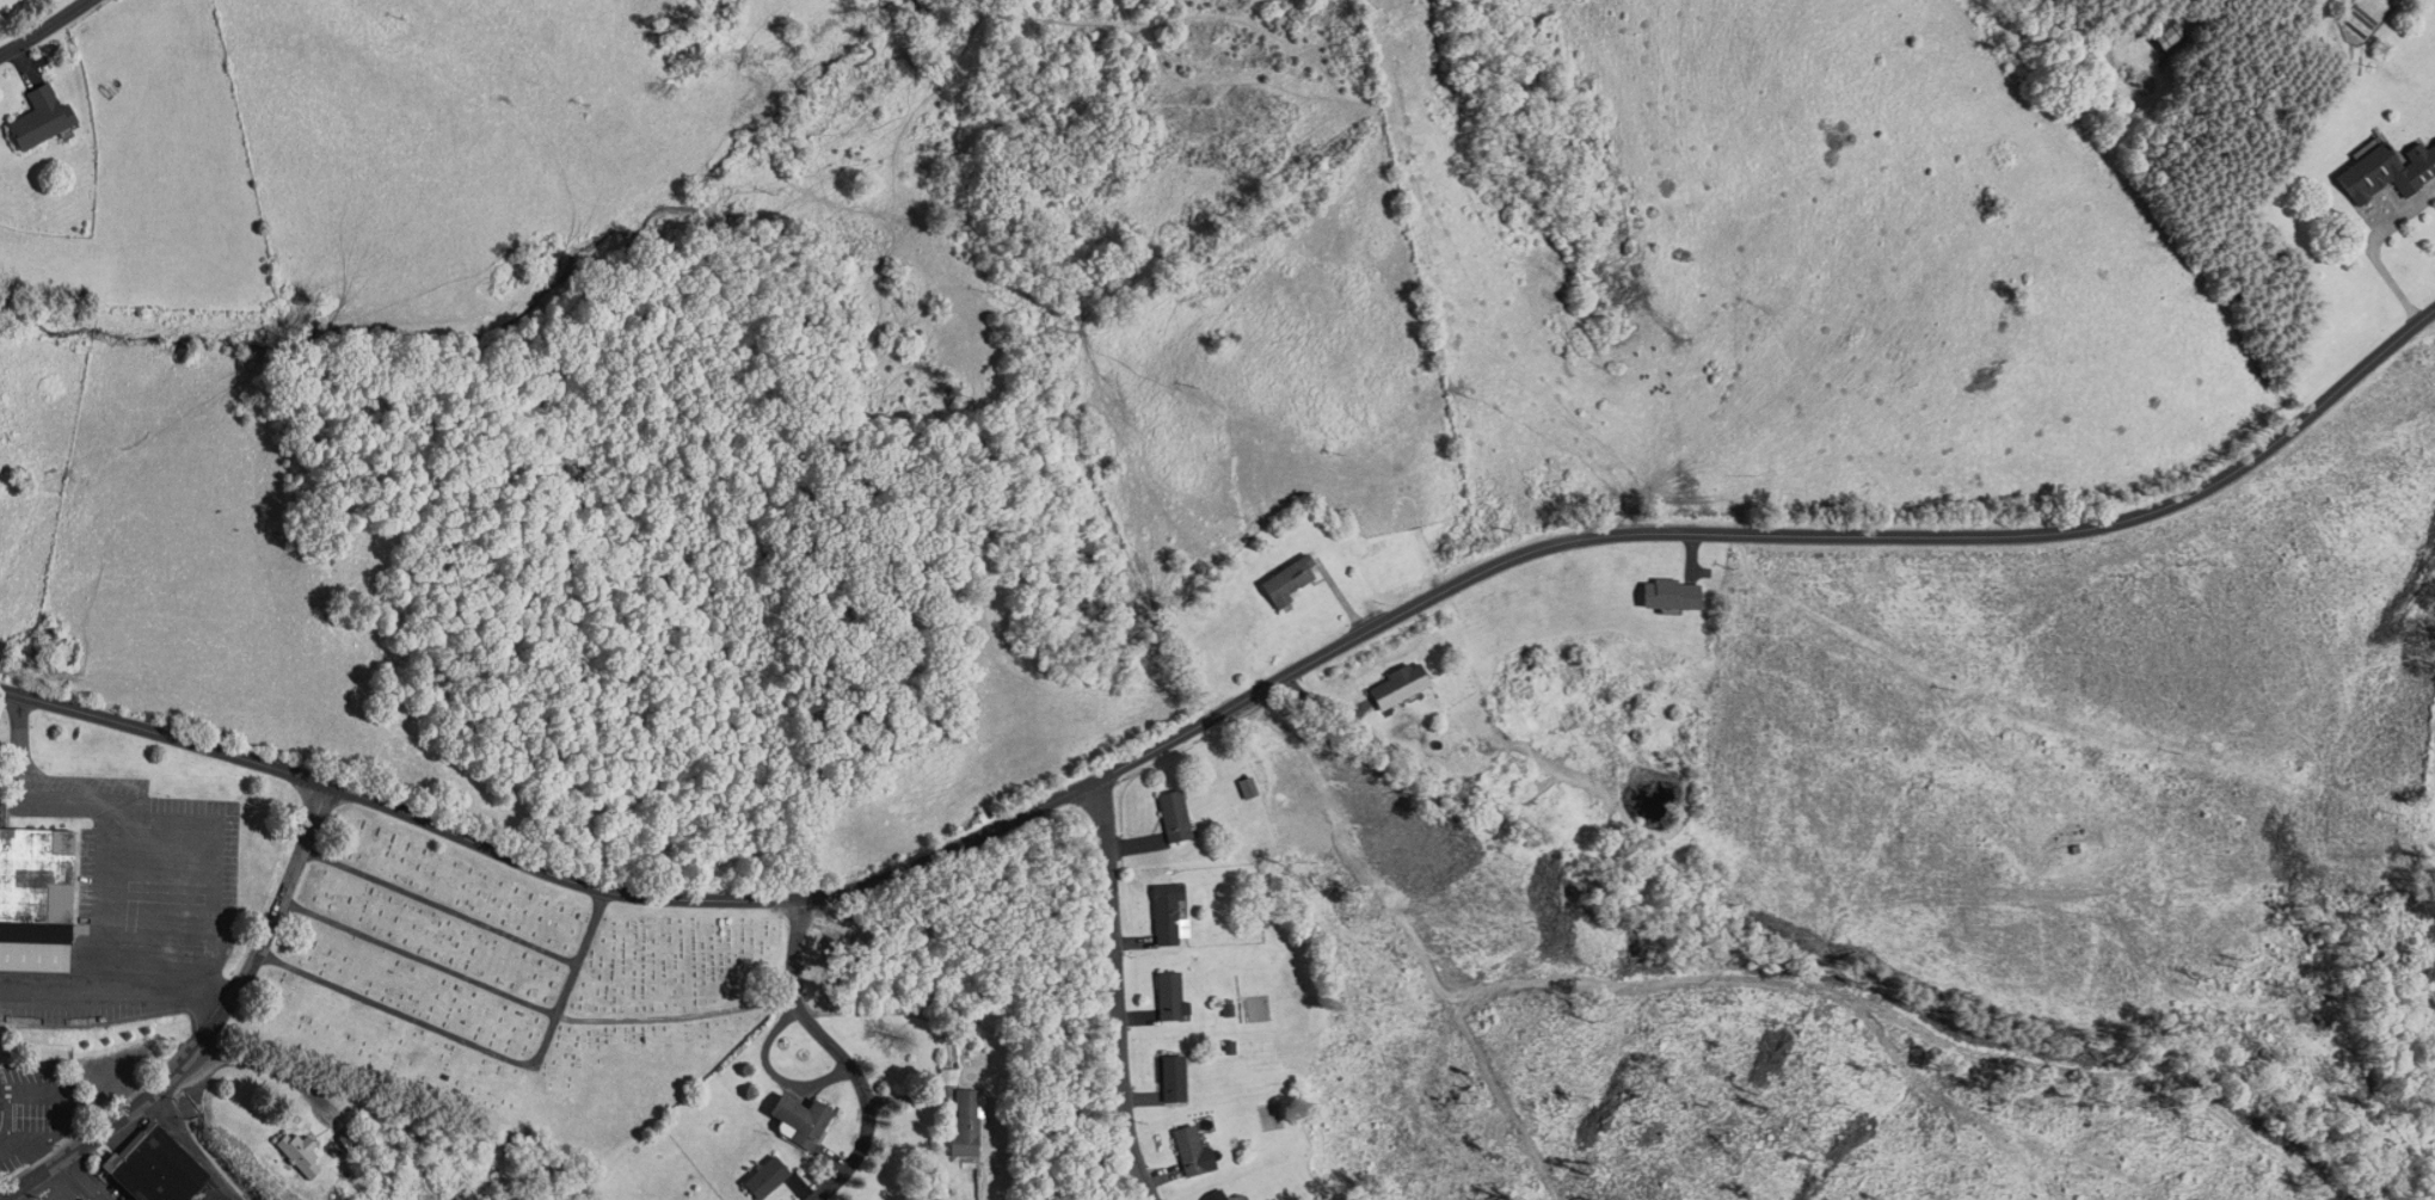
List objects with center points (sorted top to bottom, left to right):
road: (42, 26)
building: (2175, 35)
building: (38, 109)
building: (2390, 170)
building: (1285, 581)
building: (1673, 592)
building: (1397, 683)
road: (1231, 704)
building: (1249, 787)
building: (0, 799)
building: (1175, 814)
building: (39, 882)
building: (1167, 911)
park: (502, 983)
road: (1117, 993)
building: (1169, 993)
road: (211, 1028)
road: (480, 1046)
road: (837, 1057)
building: (1173, 1075)
building: (1, 1096)
building: (0, 1109)
building: (800, 1118)
building: (964, 1124)
building: (350, 1134)
building: (1188, 1146)
building: (299, 1152)
building: (152, 1167)
building: (770, 1177)
building: (207, 1190)
building: (1217, 1195)

